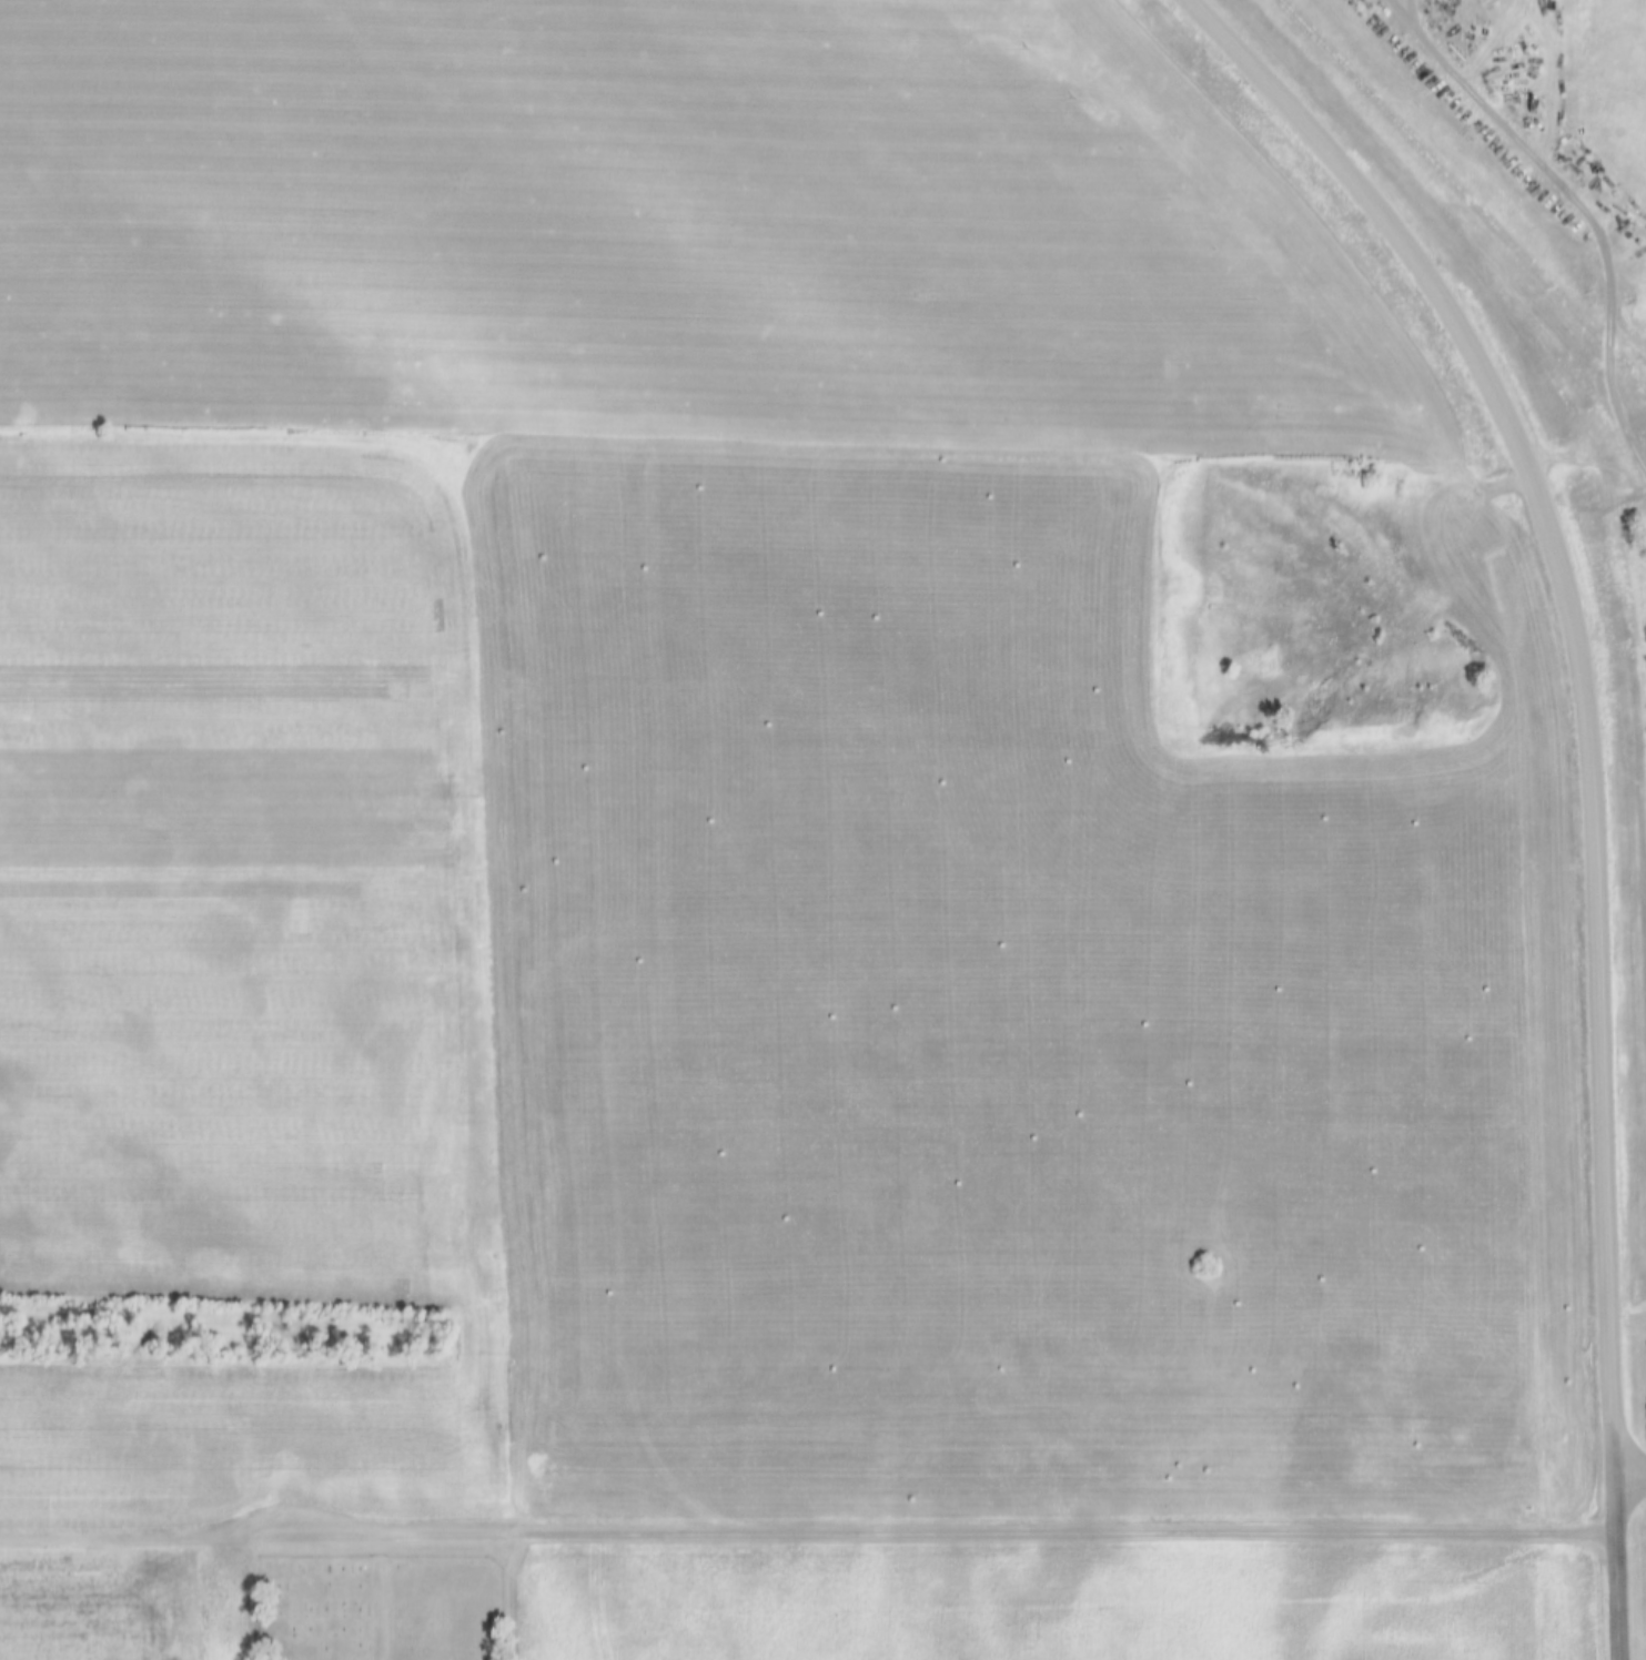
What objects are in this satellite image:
road: (1398, 4)
building: (1456, 14)
silo: (1456, 14)
railway: (1466, 190)
road: (1382, 215)
road: (1589, 472)
road: (1596, 966)
road: (1629, 1475)
road: (1000, 1535)
road: (192, 1538)
road: (1617, 1567)

